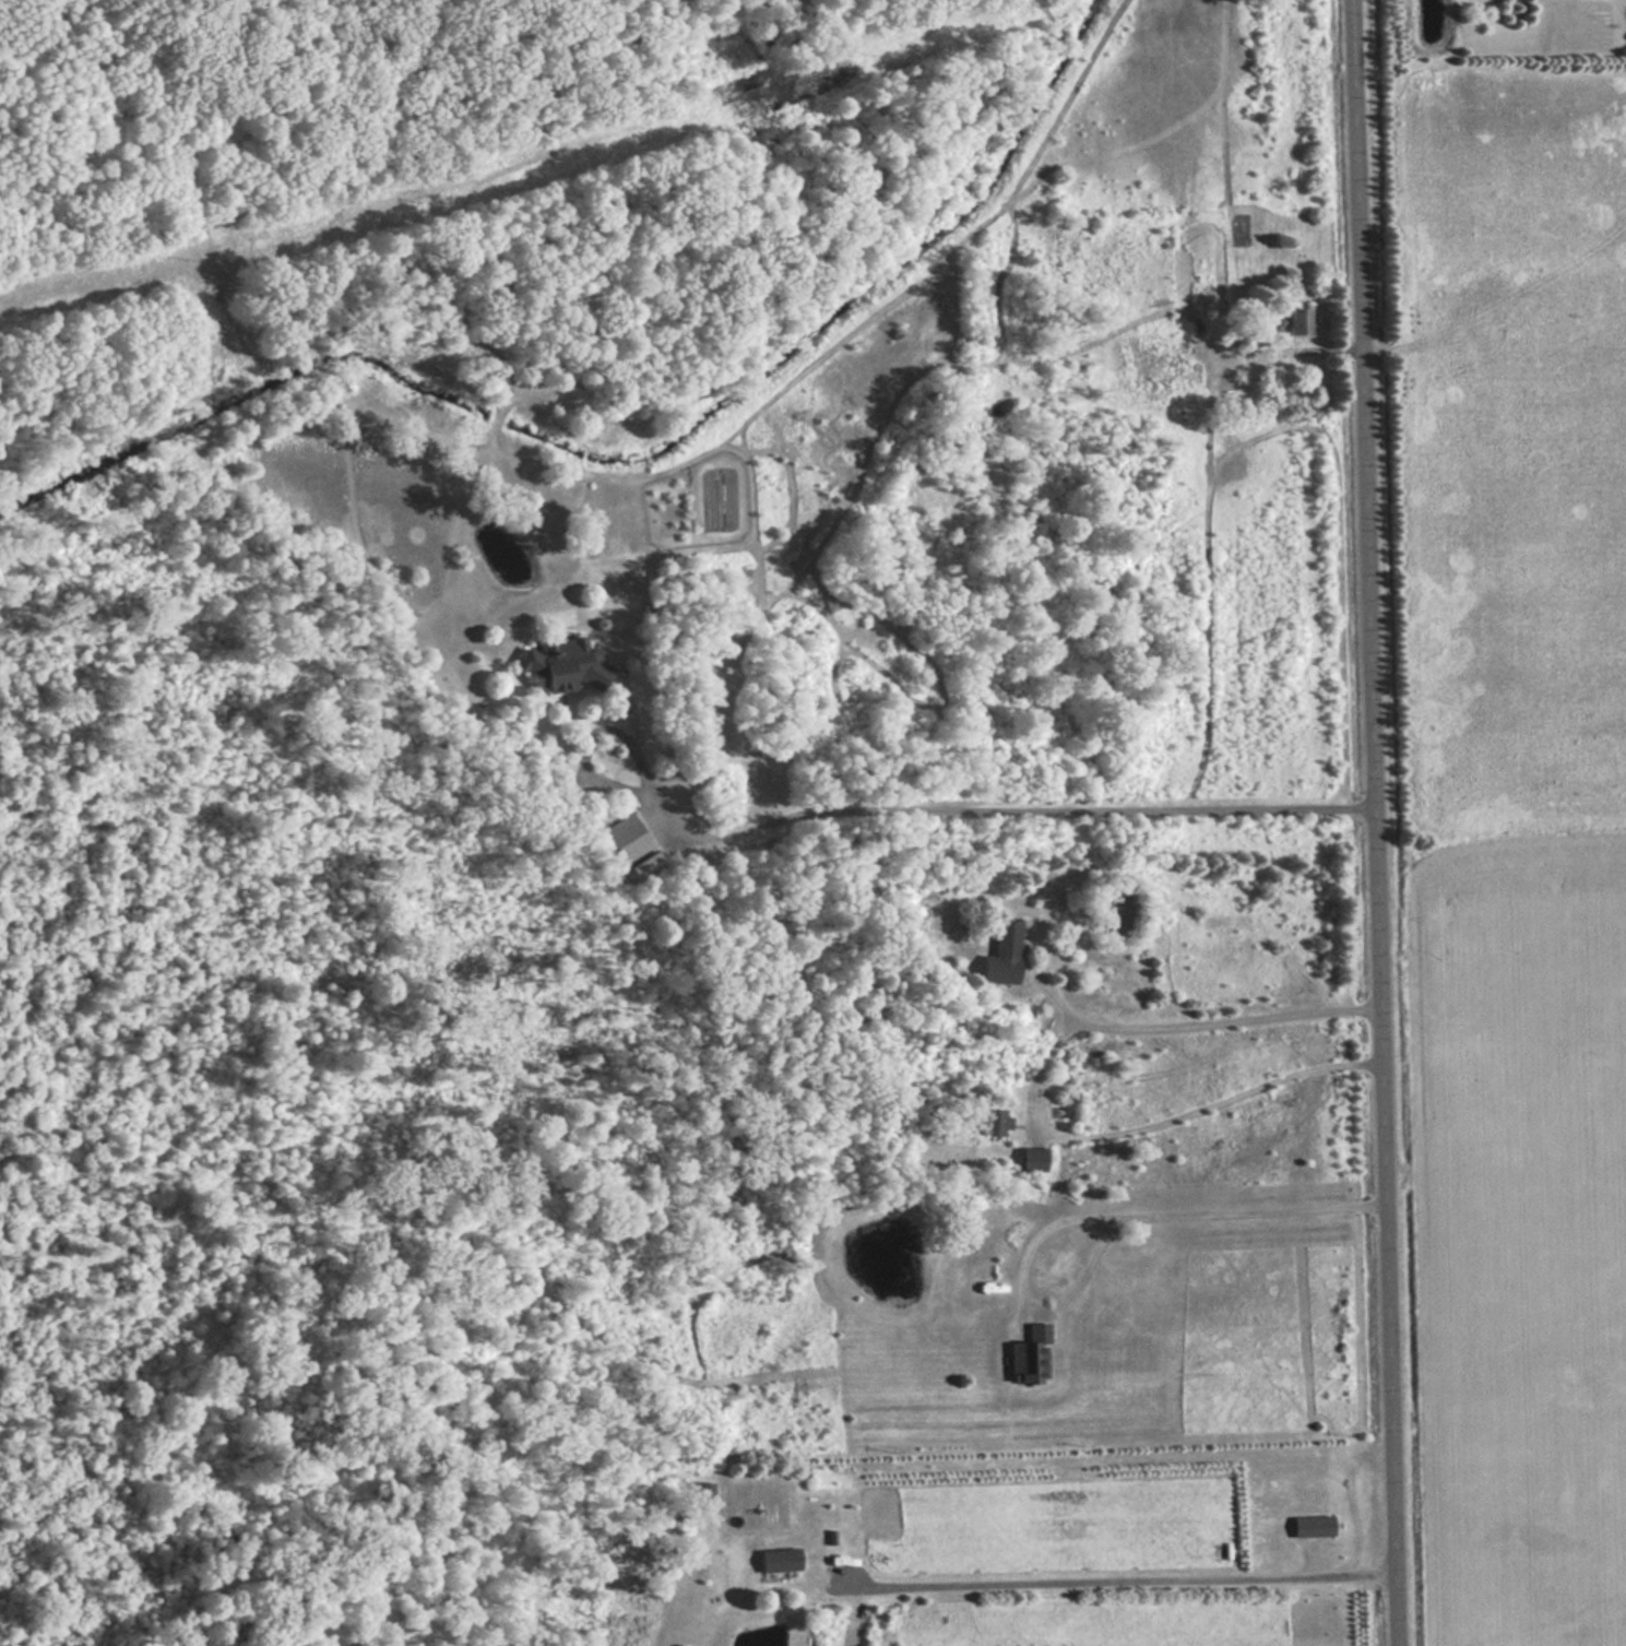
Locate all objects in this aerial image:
building: (1298, 323)
building: (565, 668)
road: (975, 812)
road: (1370, 822)
building: (625, 838)
building: (1002, 956)
building: (995, 1123)
building: (1034, 1161)
building: (1033, 1357)
building: (1313, 1528)
building: (780, 1562)
building: (690, 1572)
road: (1109, 1584)

